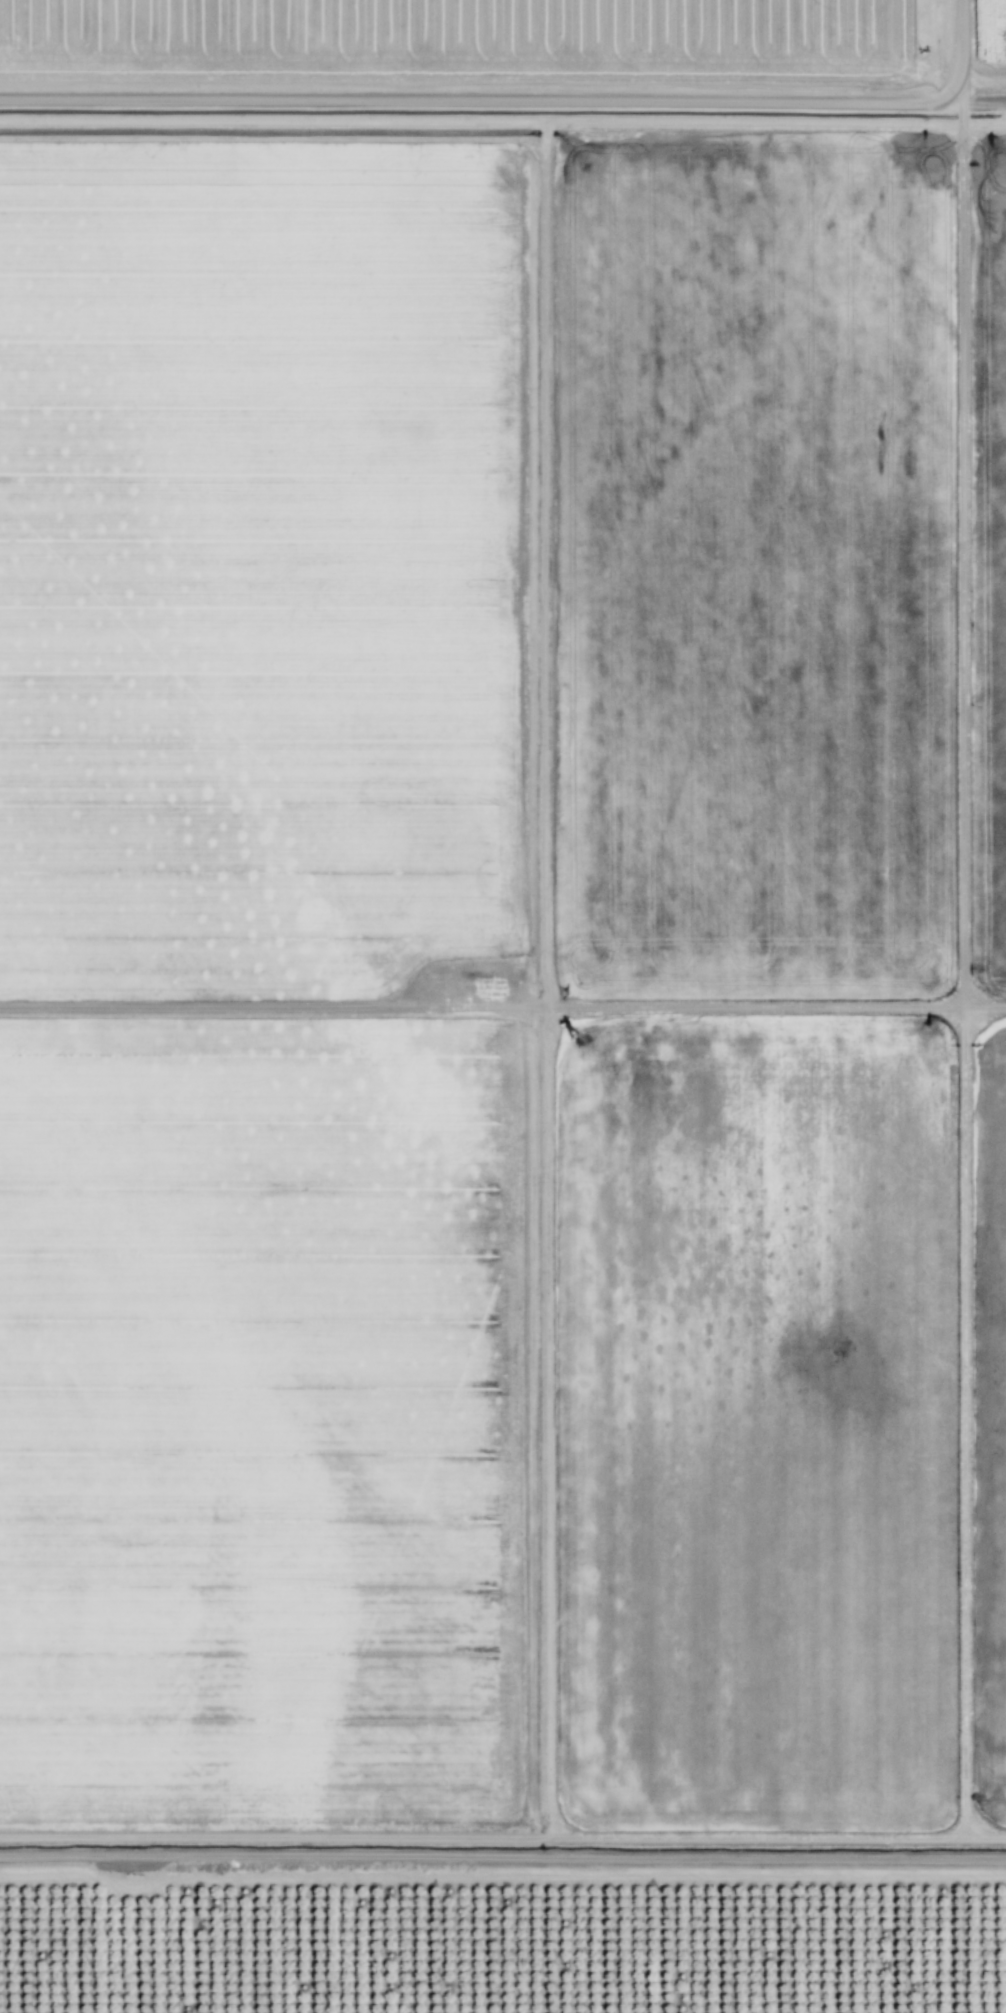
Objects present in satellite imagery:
road: (524, 98)

